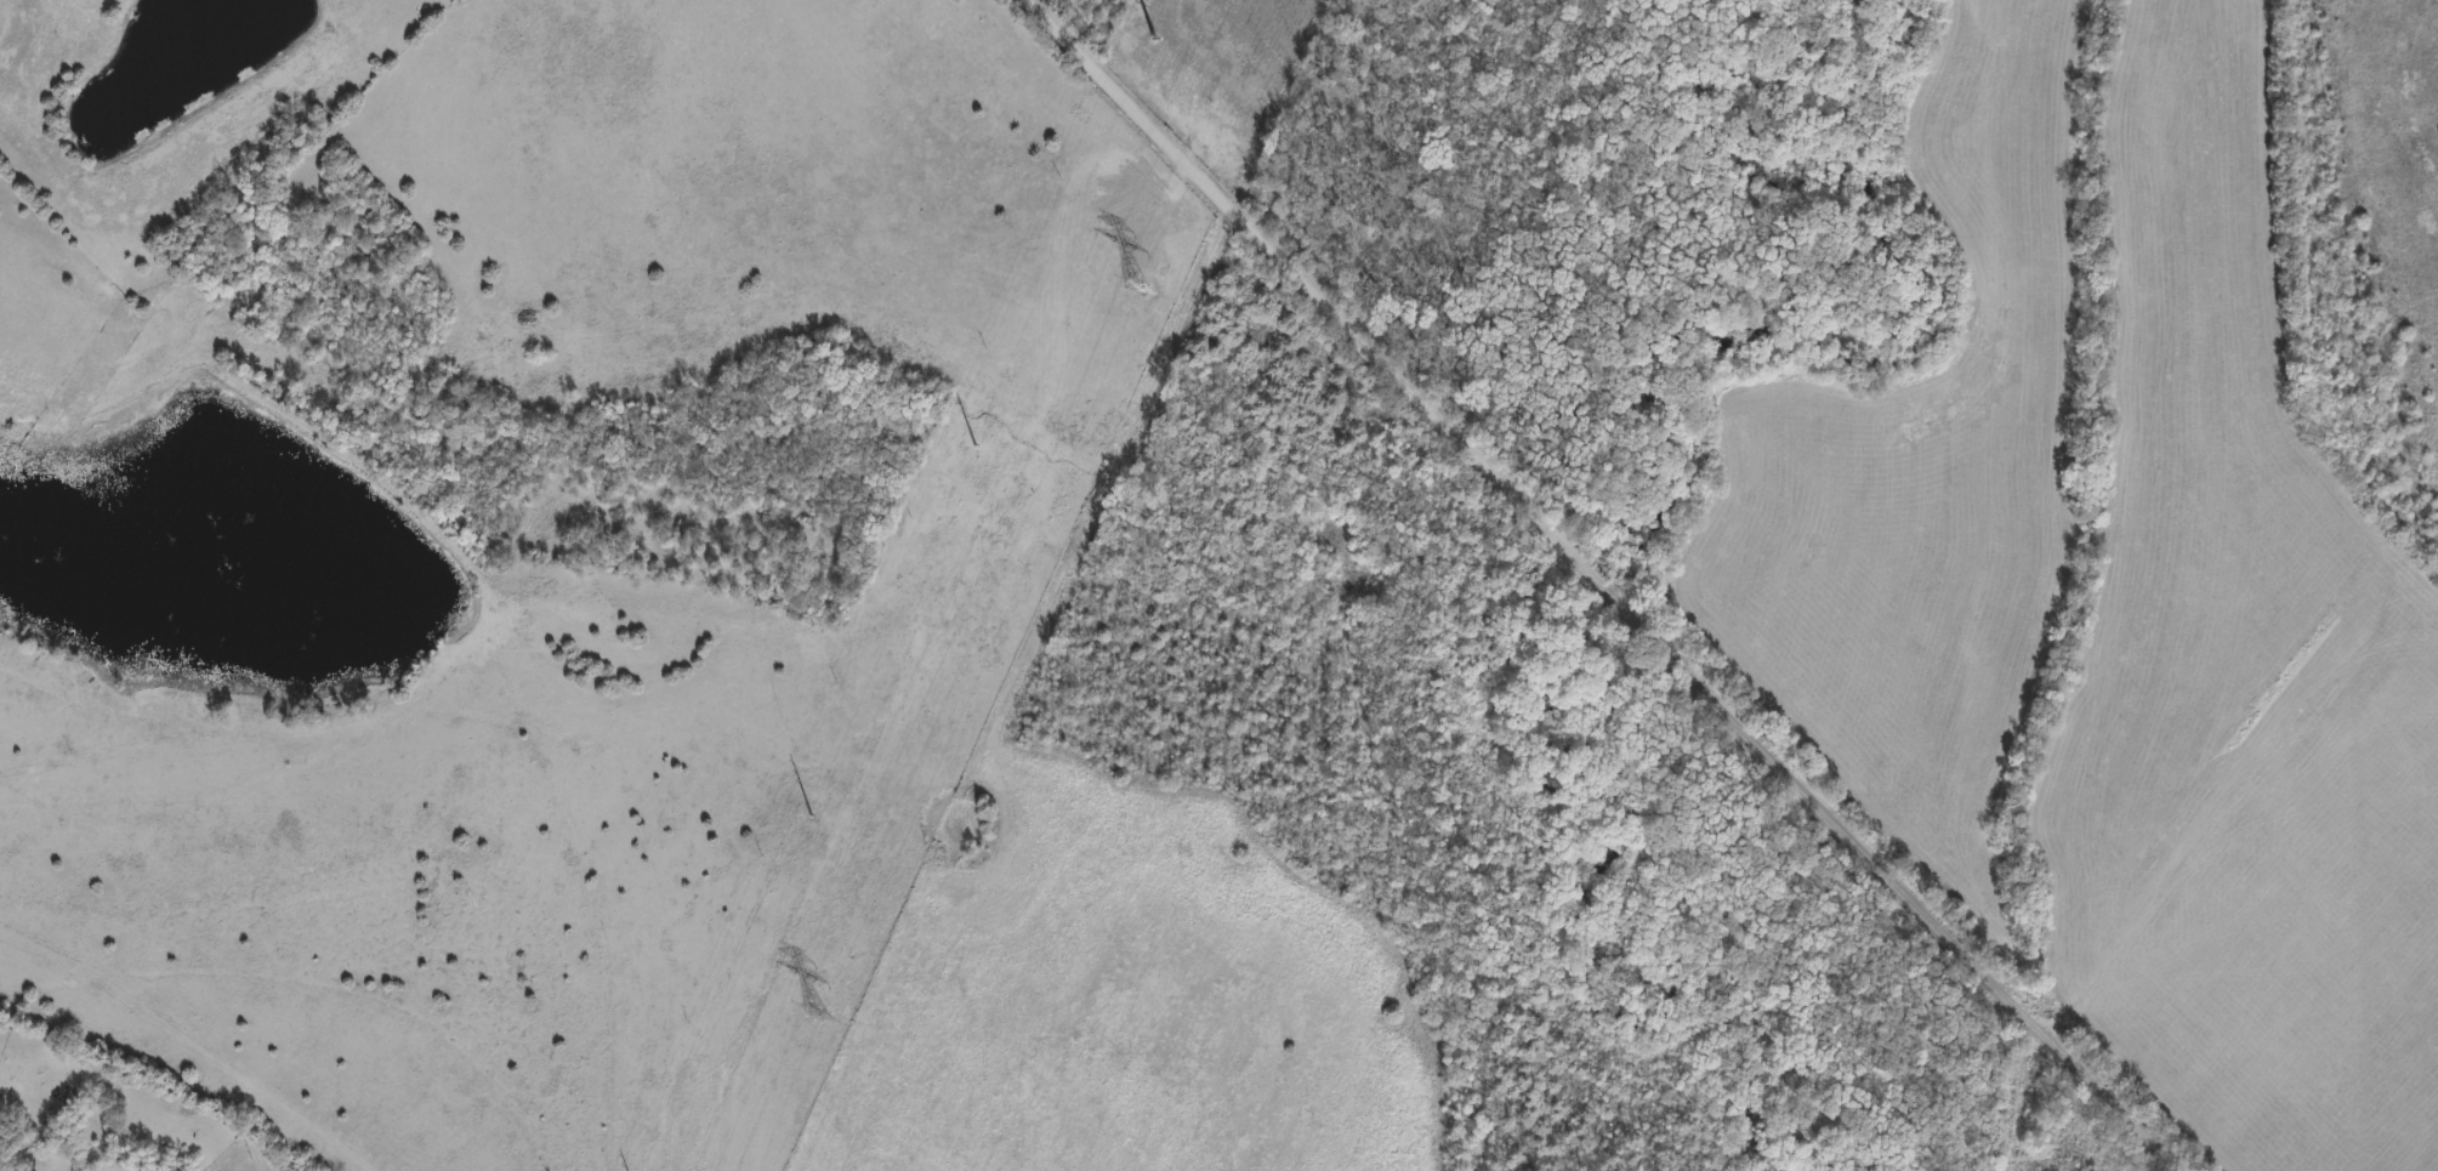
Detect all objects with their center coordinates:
power tower: (1153, 46)
power tower: (1140, 288)
power tower: (982, 433)
road: (1590, 586)
power tower: (809, 822)
power tower: (817, 1013)

